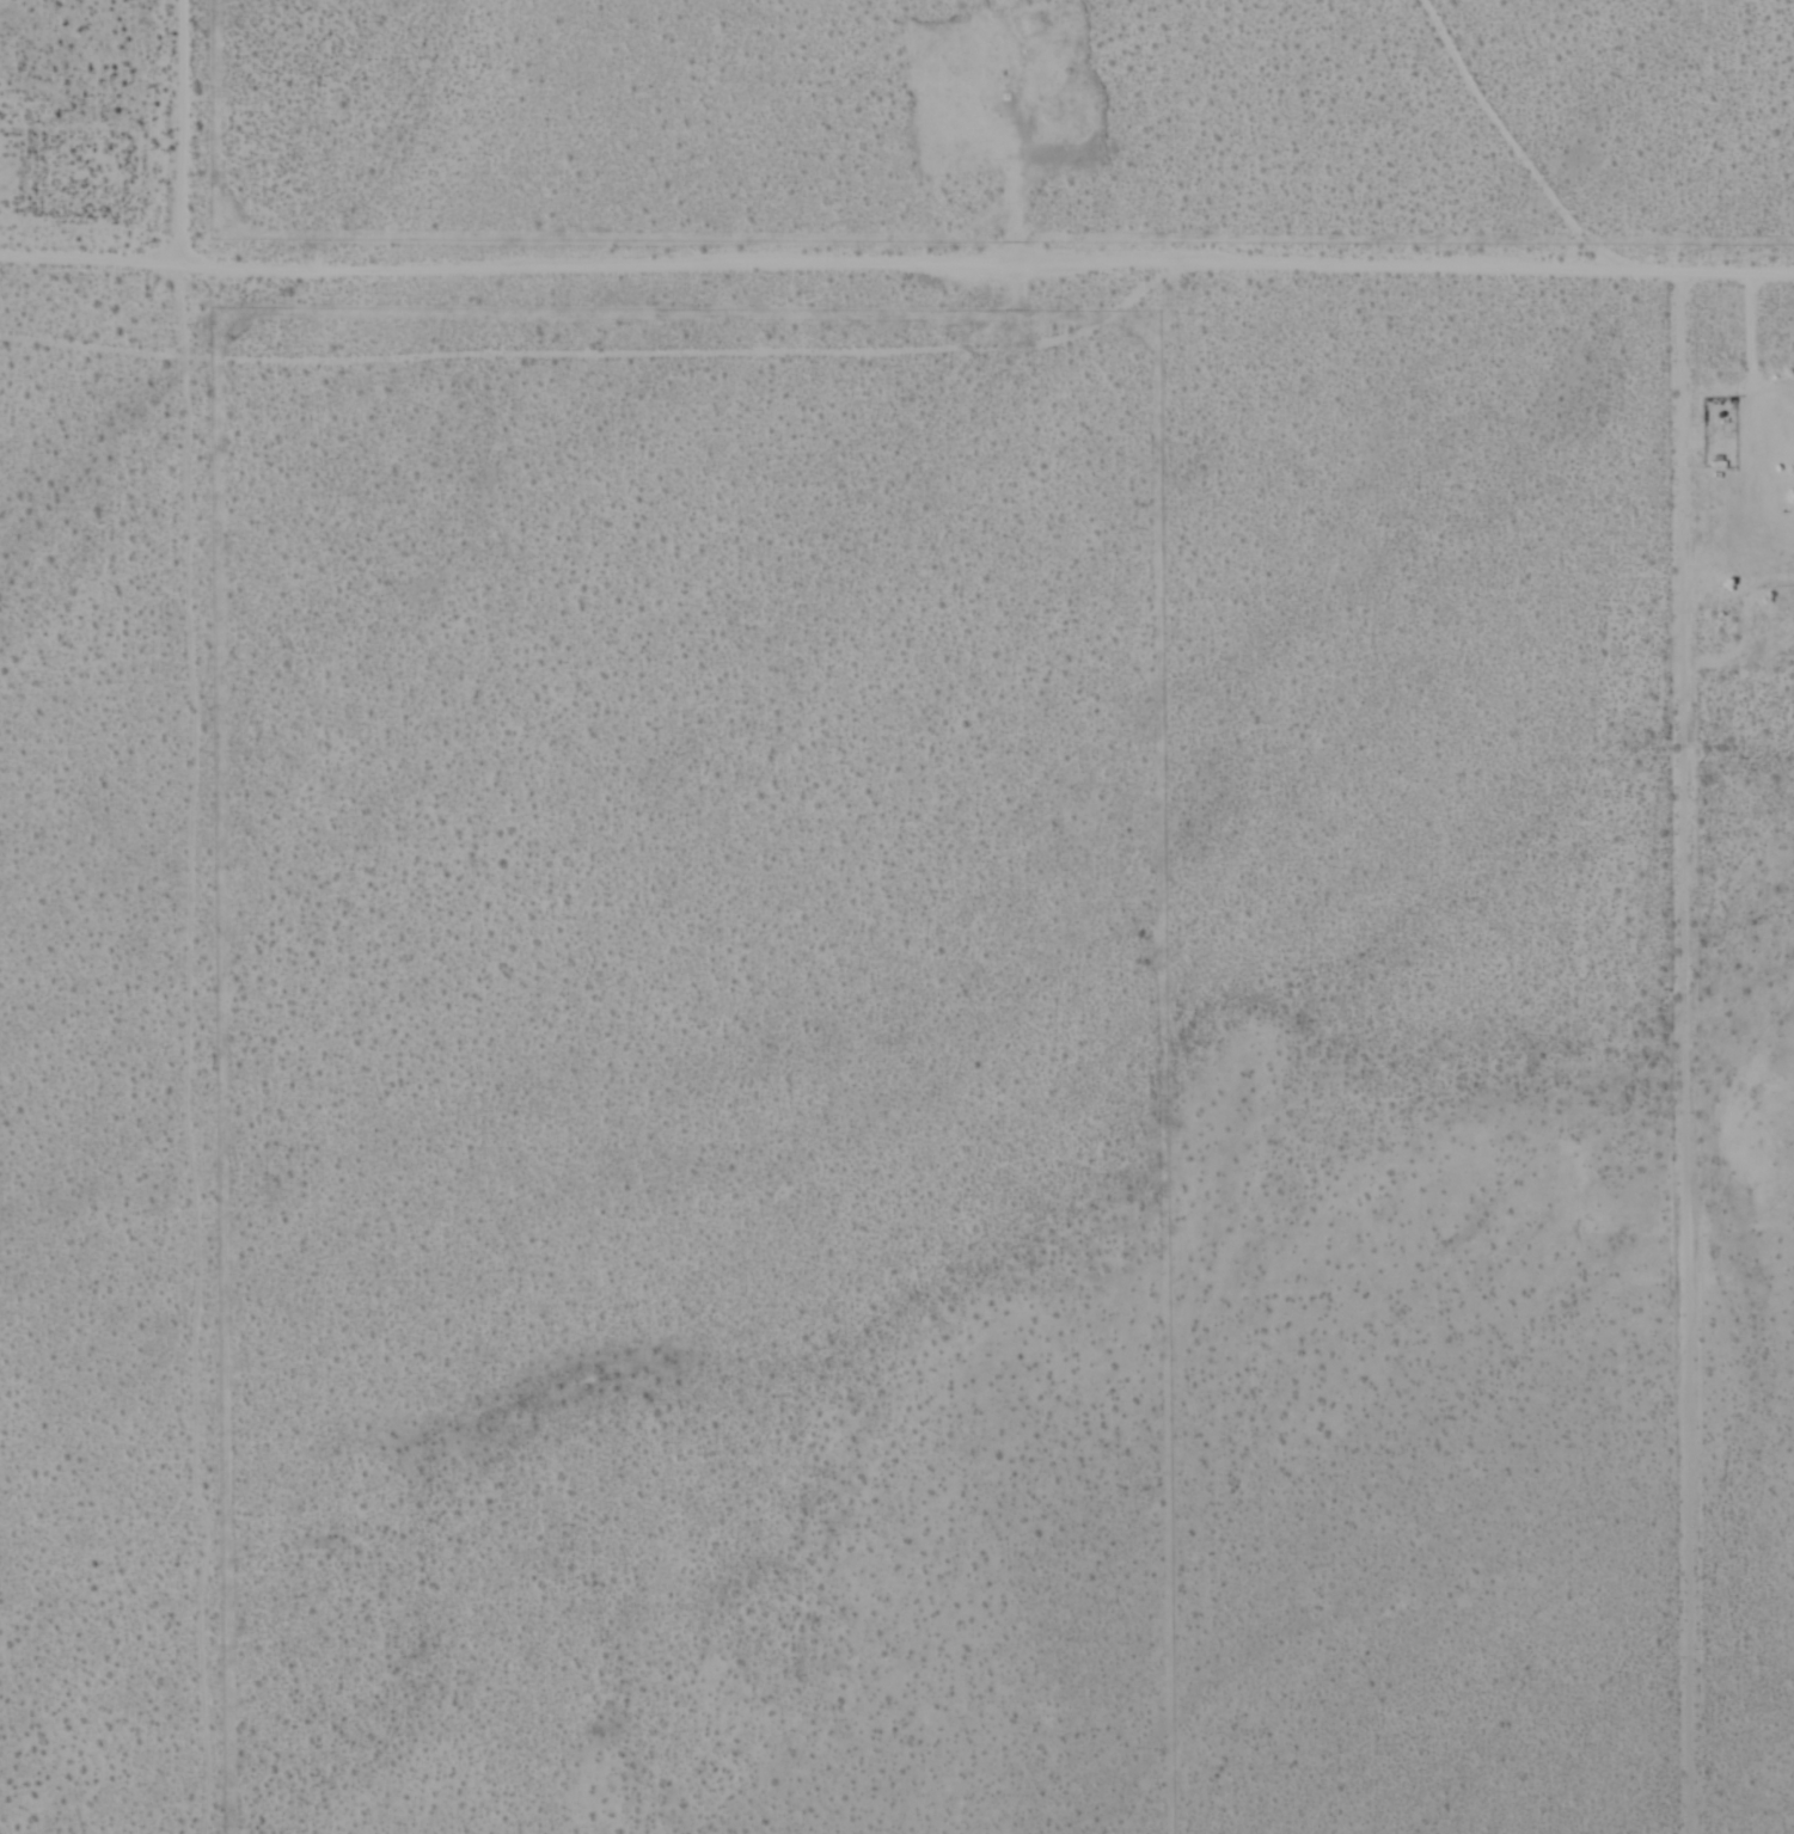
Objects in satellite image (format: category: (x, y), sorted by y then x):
road: (180, 131)
road: (1514, 146)
road: (88, 219)
road: (896, 265)

